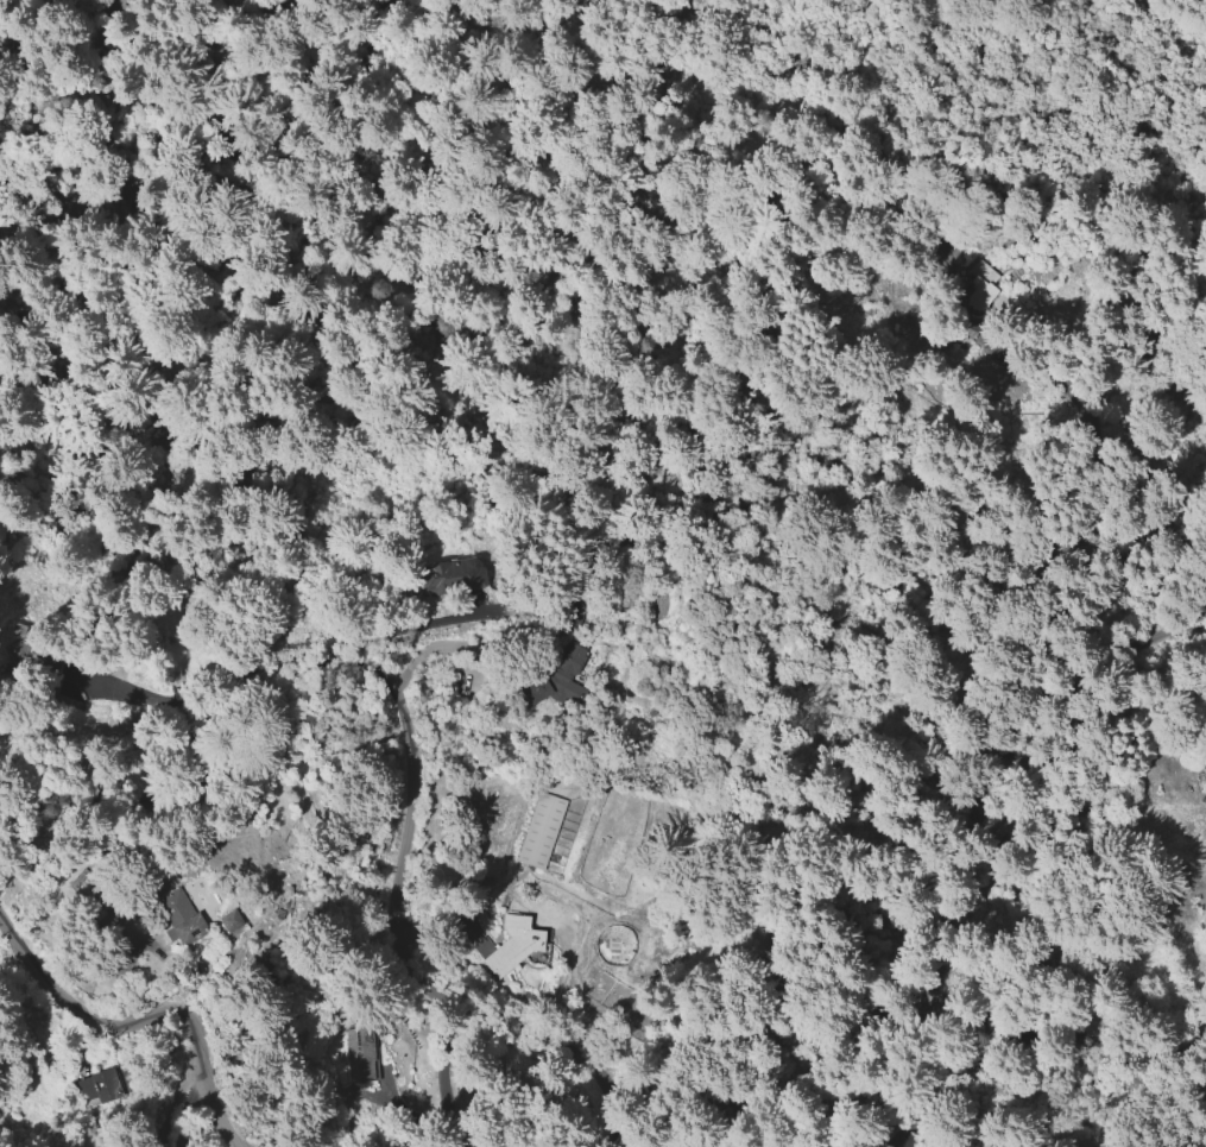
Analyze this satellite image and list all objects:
road: (145, 218)
building: (980, 286)
building: (558, 692)
road: (276, 706)
building: (538, 831)
building: (184, 920)
building: (232, 922)
building: (512, 944)
road: (1029, 1047)
building: (121, 1080)
building: (97, 1088)
road: (177, 1109)

